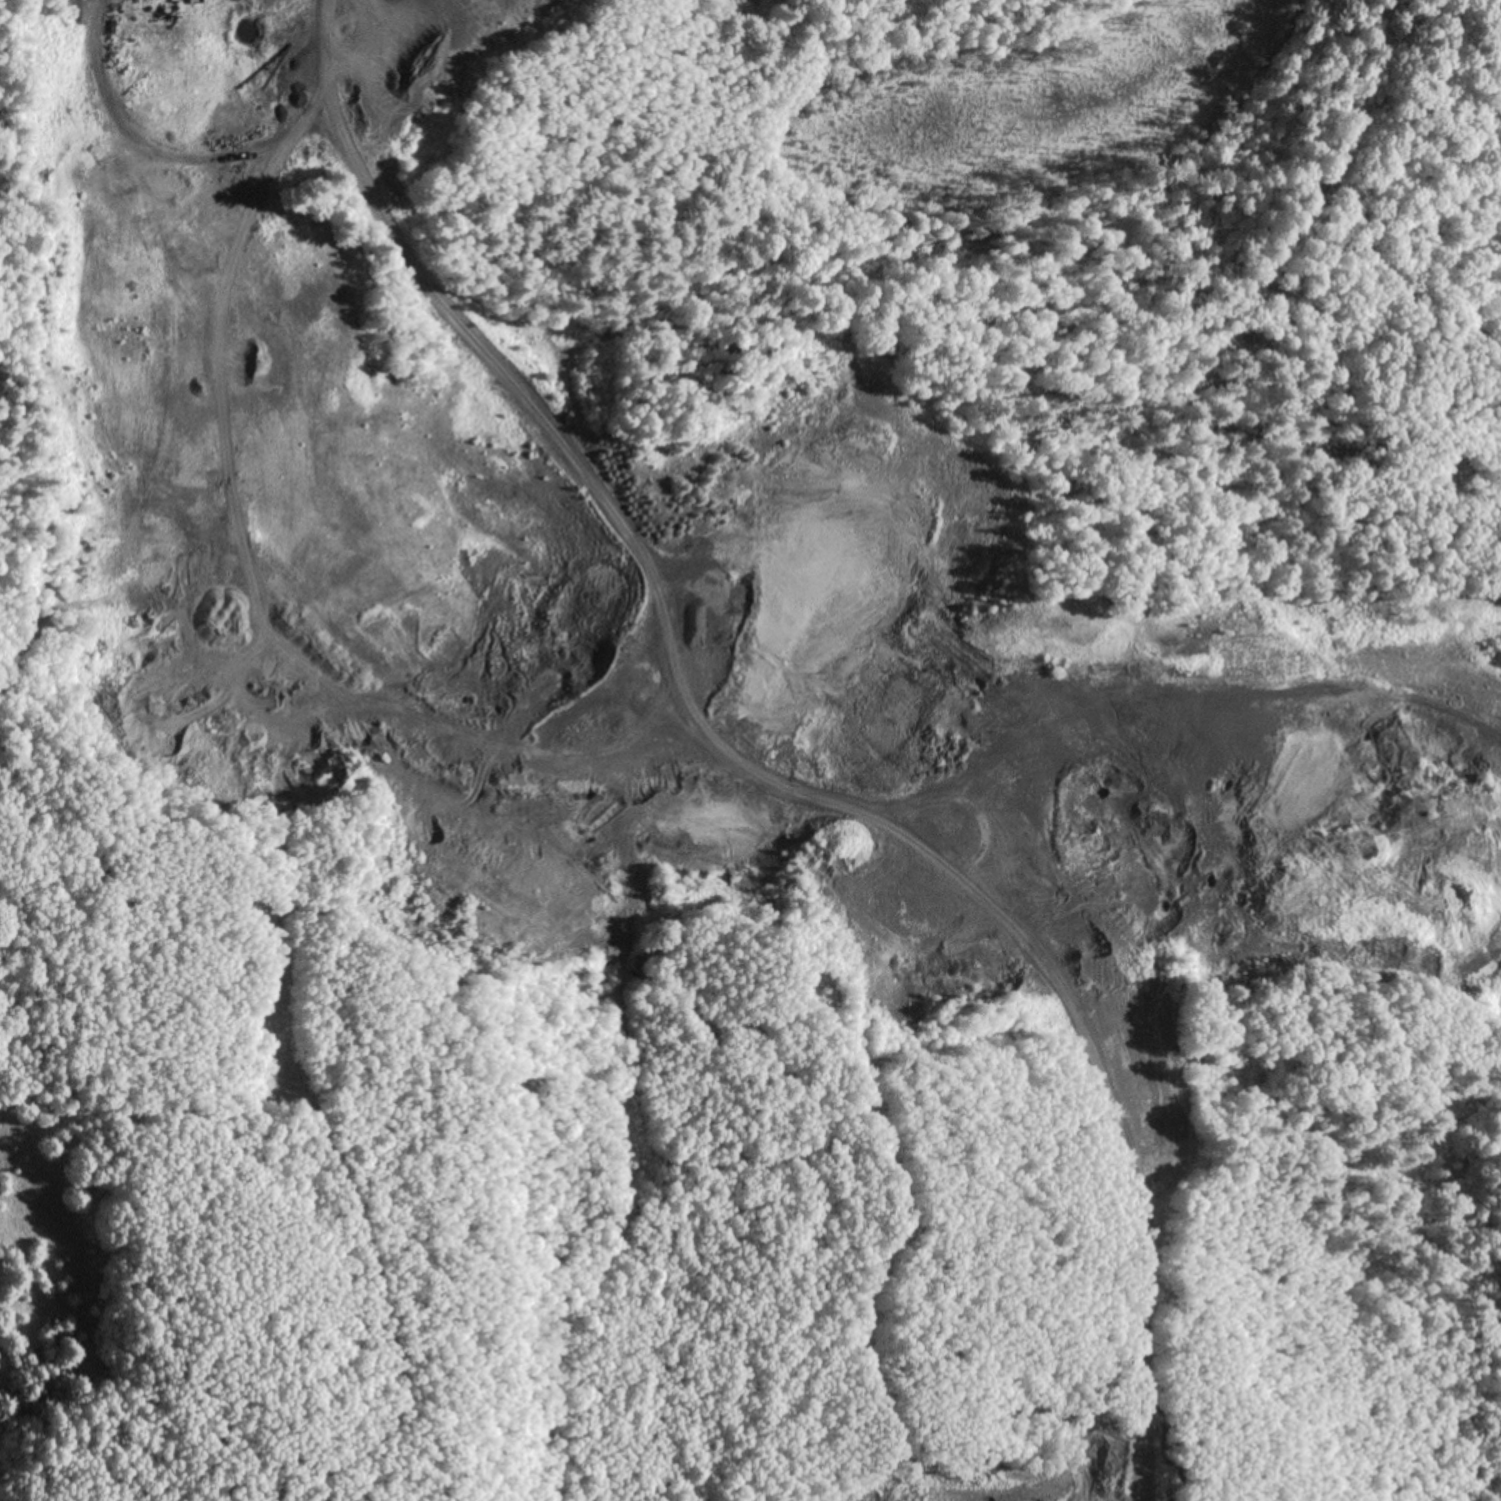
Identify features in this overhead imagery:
quarry: (758, 7)
road: (165, 156)
road: (1316, 205)
road: (590, 481)
quarry: (675, 598)
road: (1267, 704)
quarry: (707, 829)
road: (1168, 1093)
quarry: (1084, 1485)

